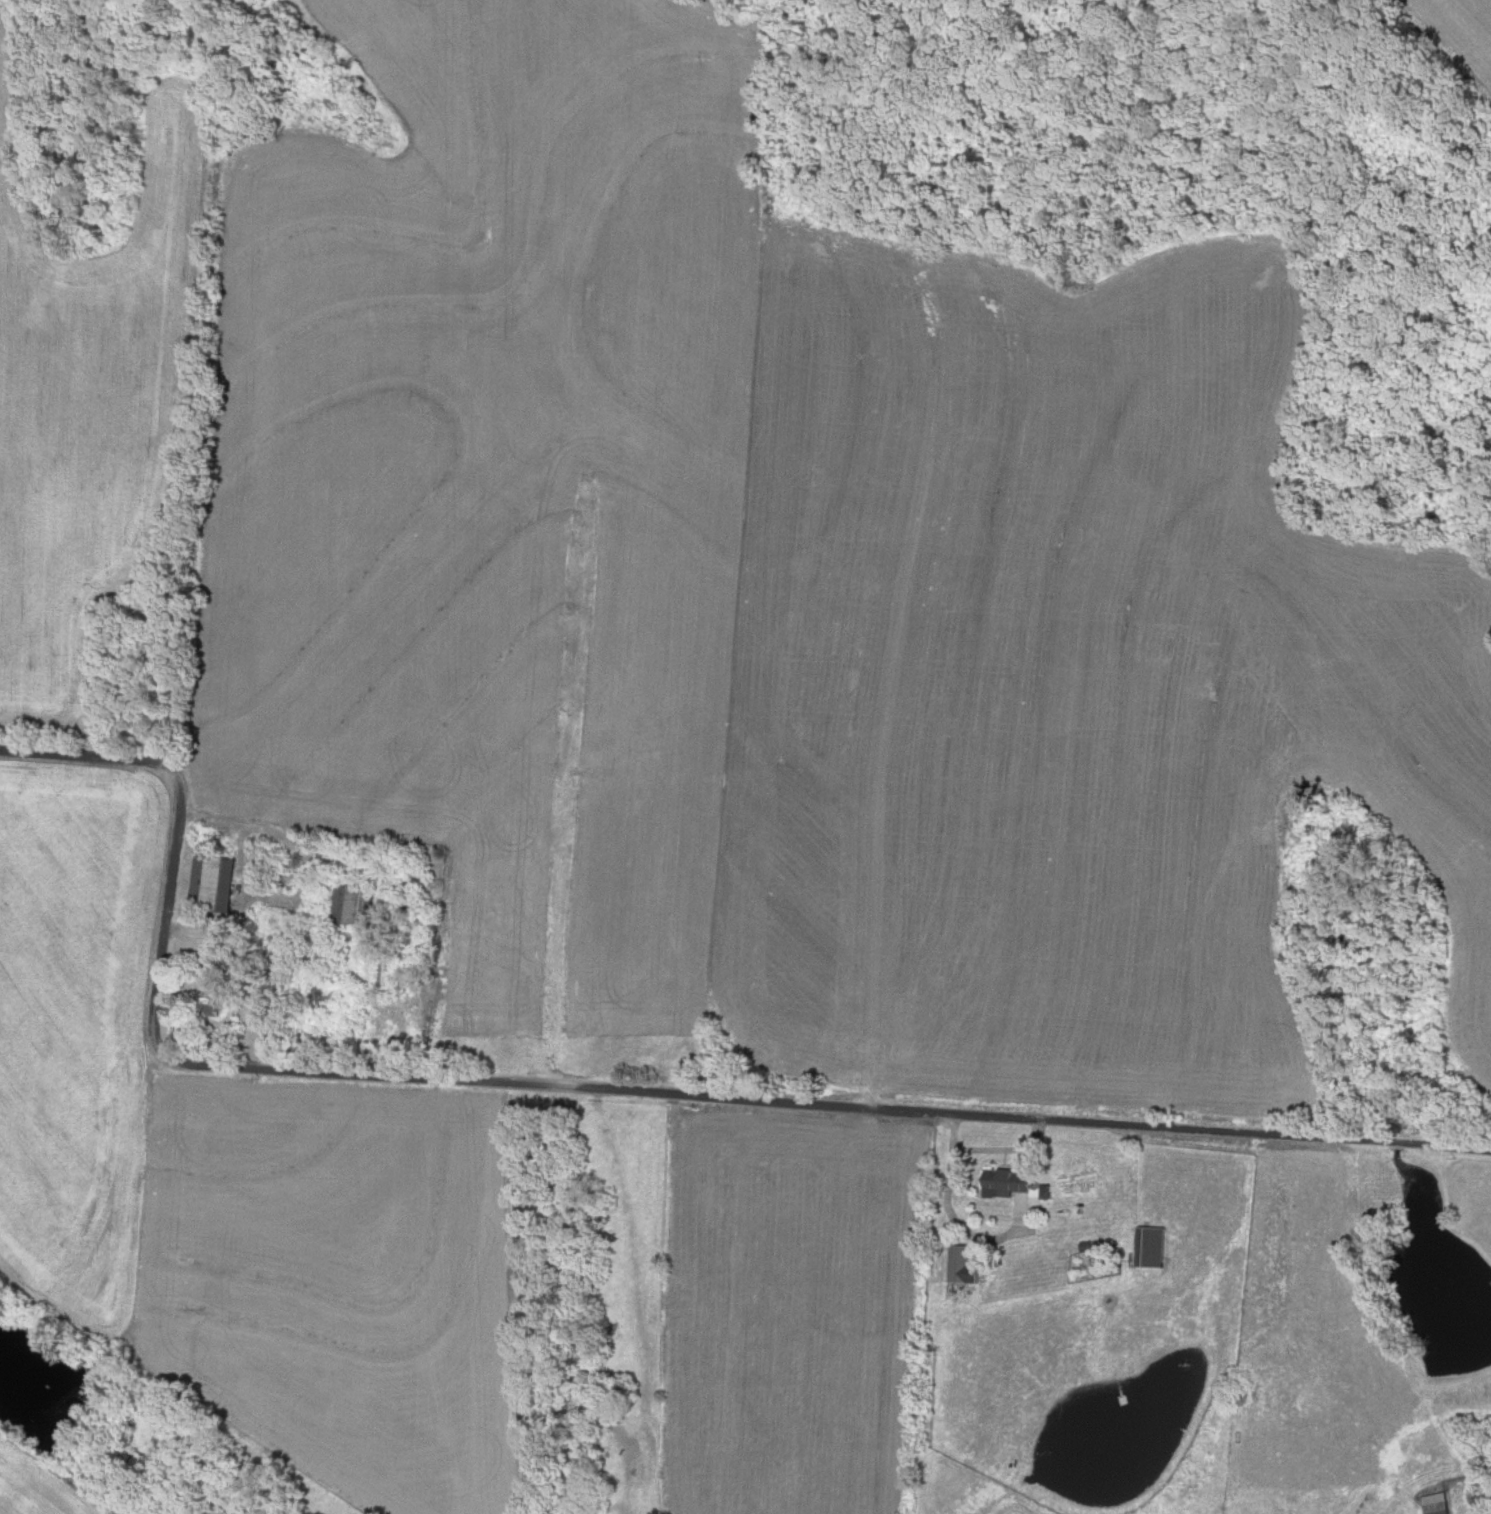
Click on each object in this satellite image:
crop: (1442, 50)
crop: (88, 395)
crop: (500, 493)
crop: (1068, 686)
building: (210, 882)
building: (348, 904)
road: (242, 971)
building: (209, 1003)
crop: (74, 1030)
road: (591, 1087)
building: (1002, 1182)
road: (950, 1215)
building: (1148, 1246)
building: (961, 1265)
crop: (334, 1283)
crop: (794, 1310)
crop: (38, 1484)
building: (1435, 1503)

